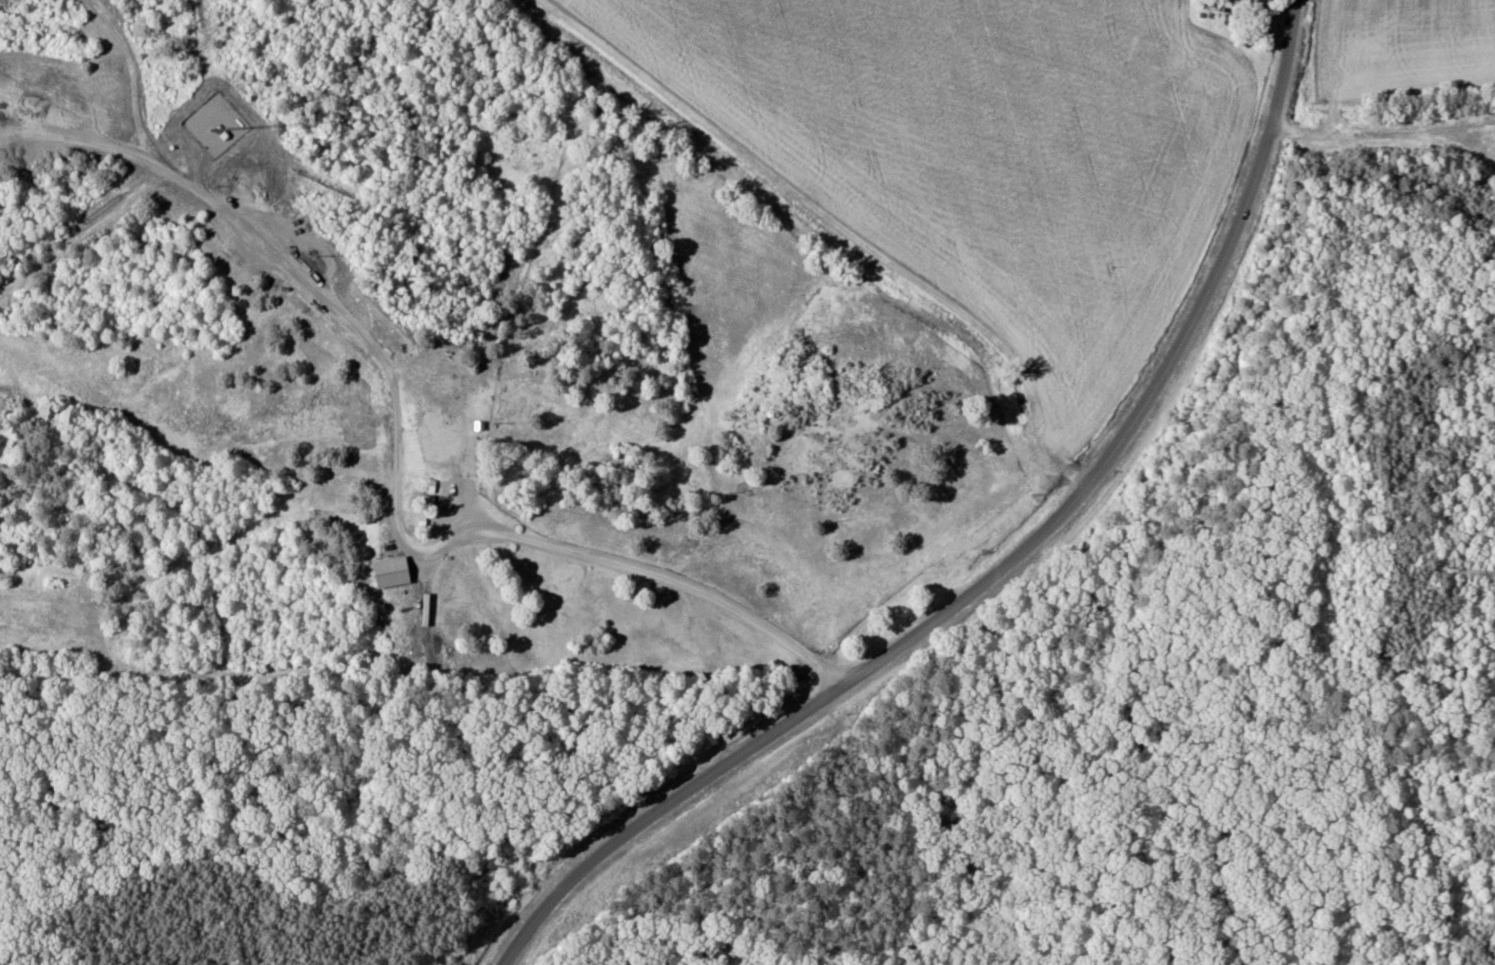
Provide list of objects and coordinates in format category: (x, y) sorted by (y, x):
building: (1238, 3)
building: (441, 435)
road: (1004, 563)
building: (393, 572)
road: (545, 572)

